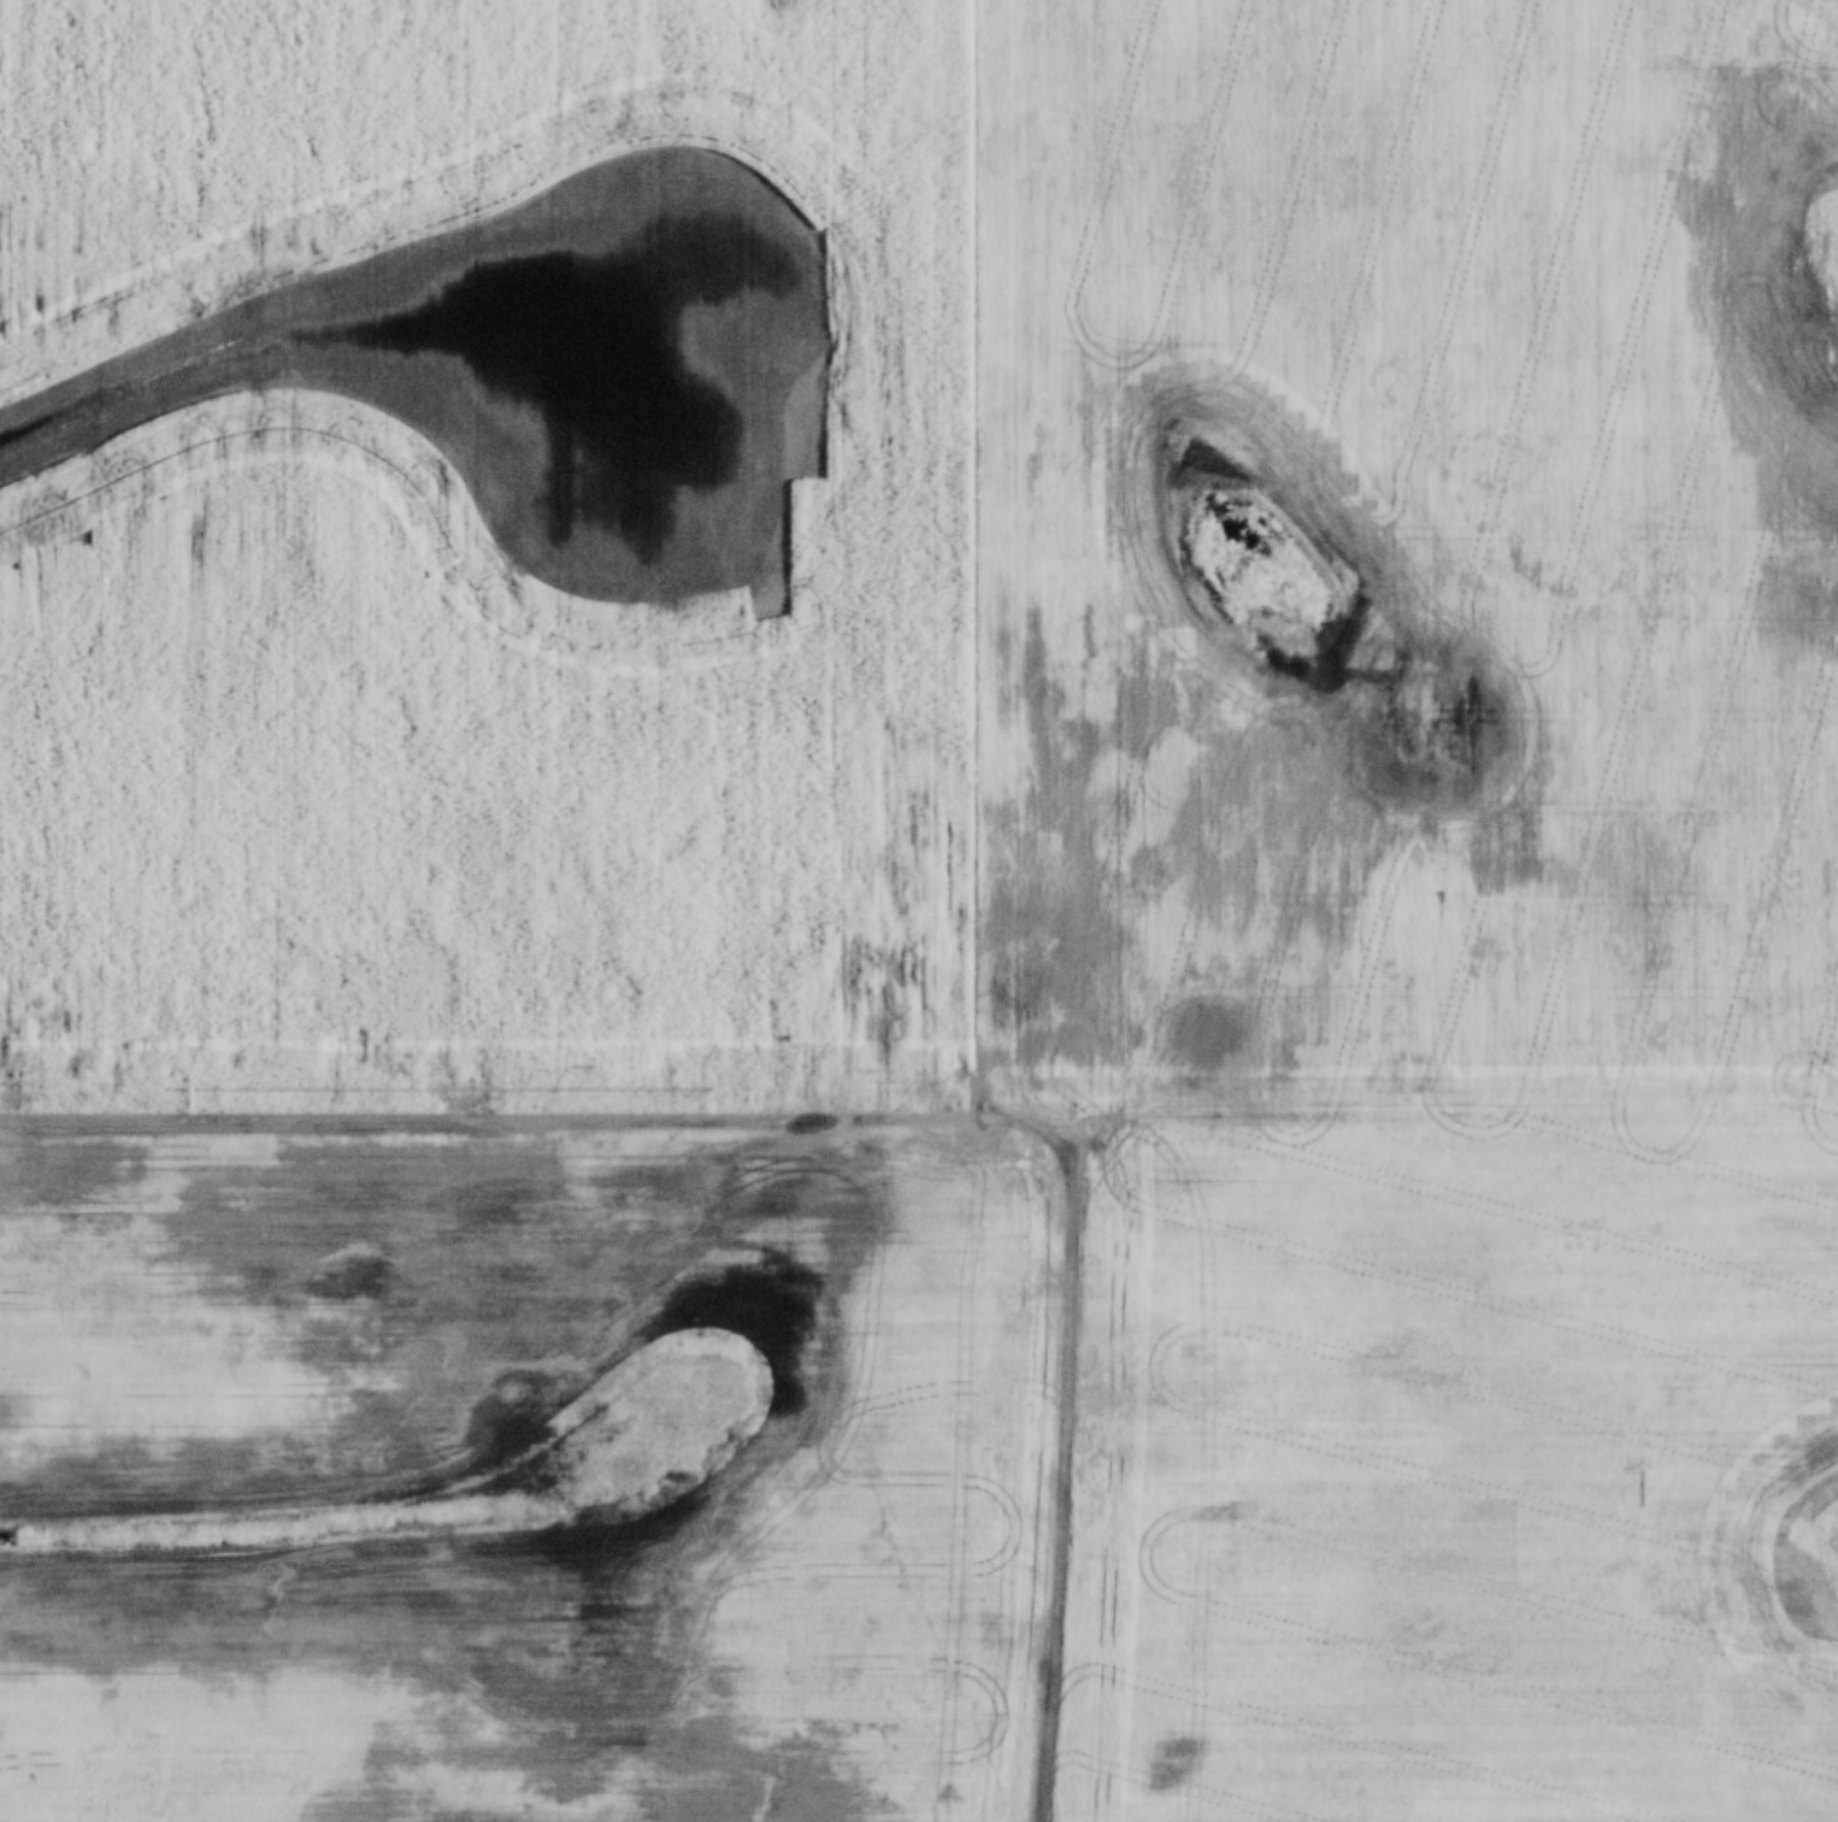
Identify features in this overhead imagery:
road: (1049, 1492)

